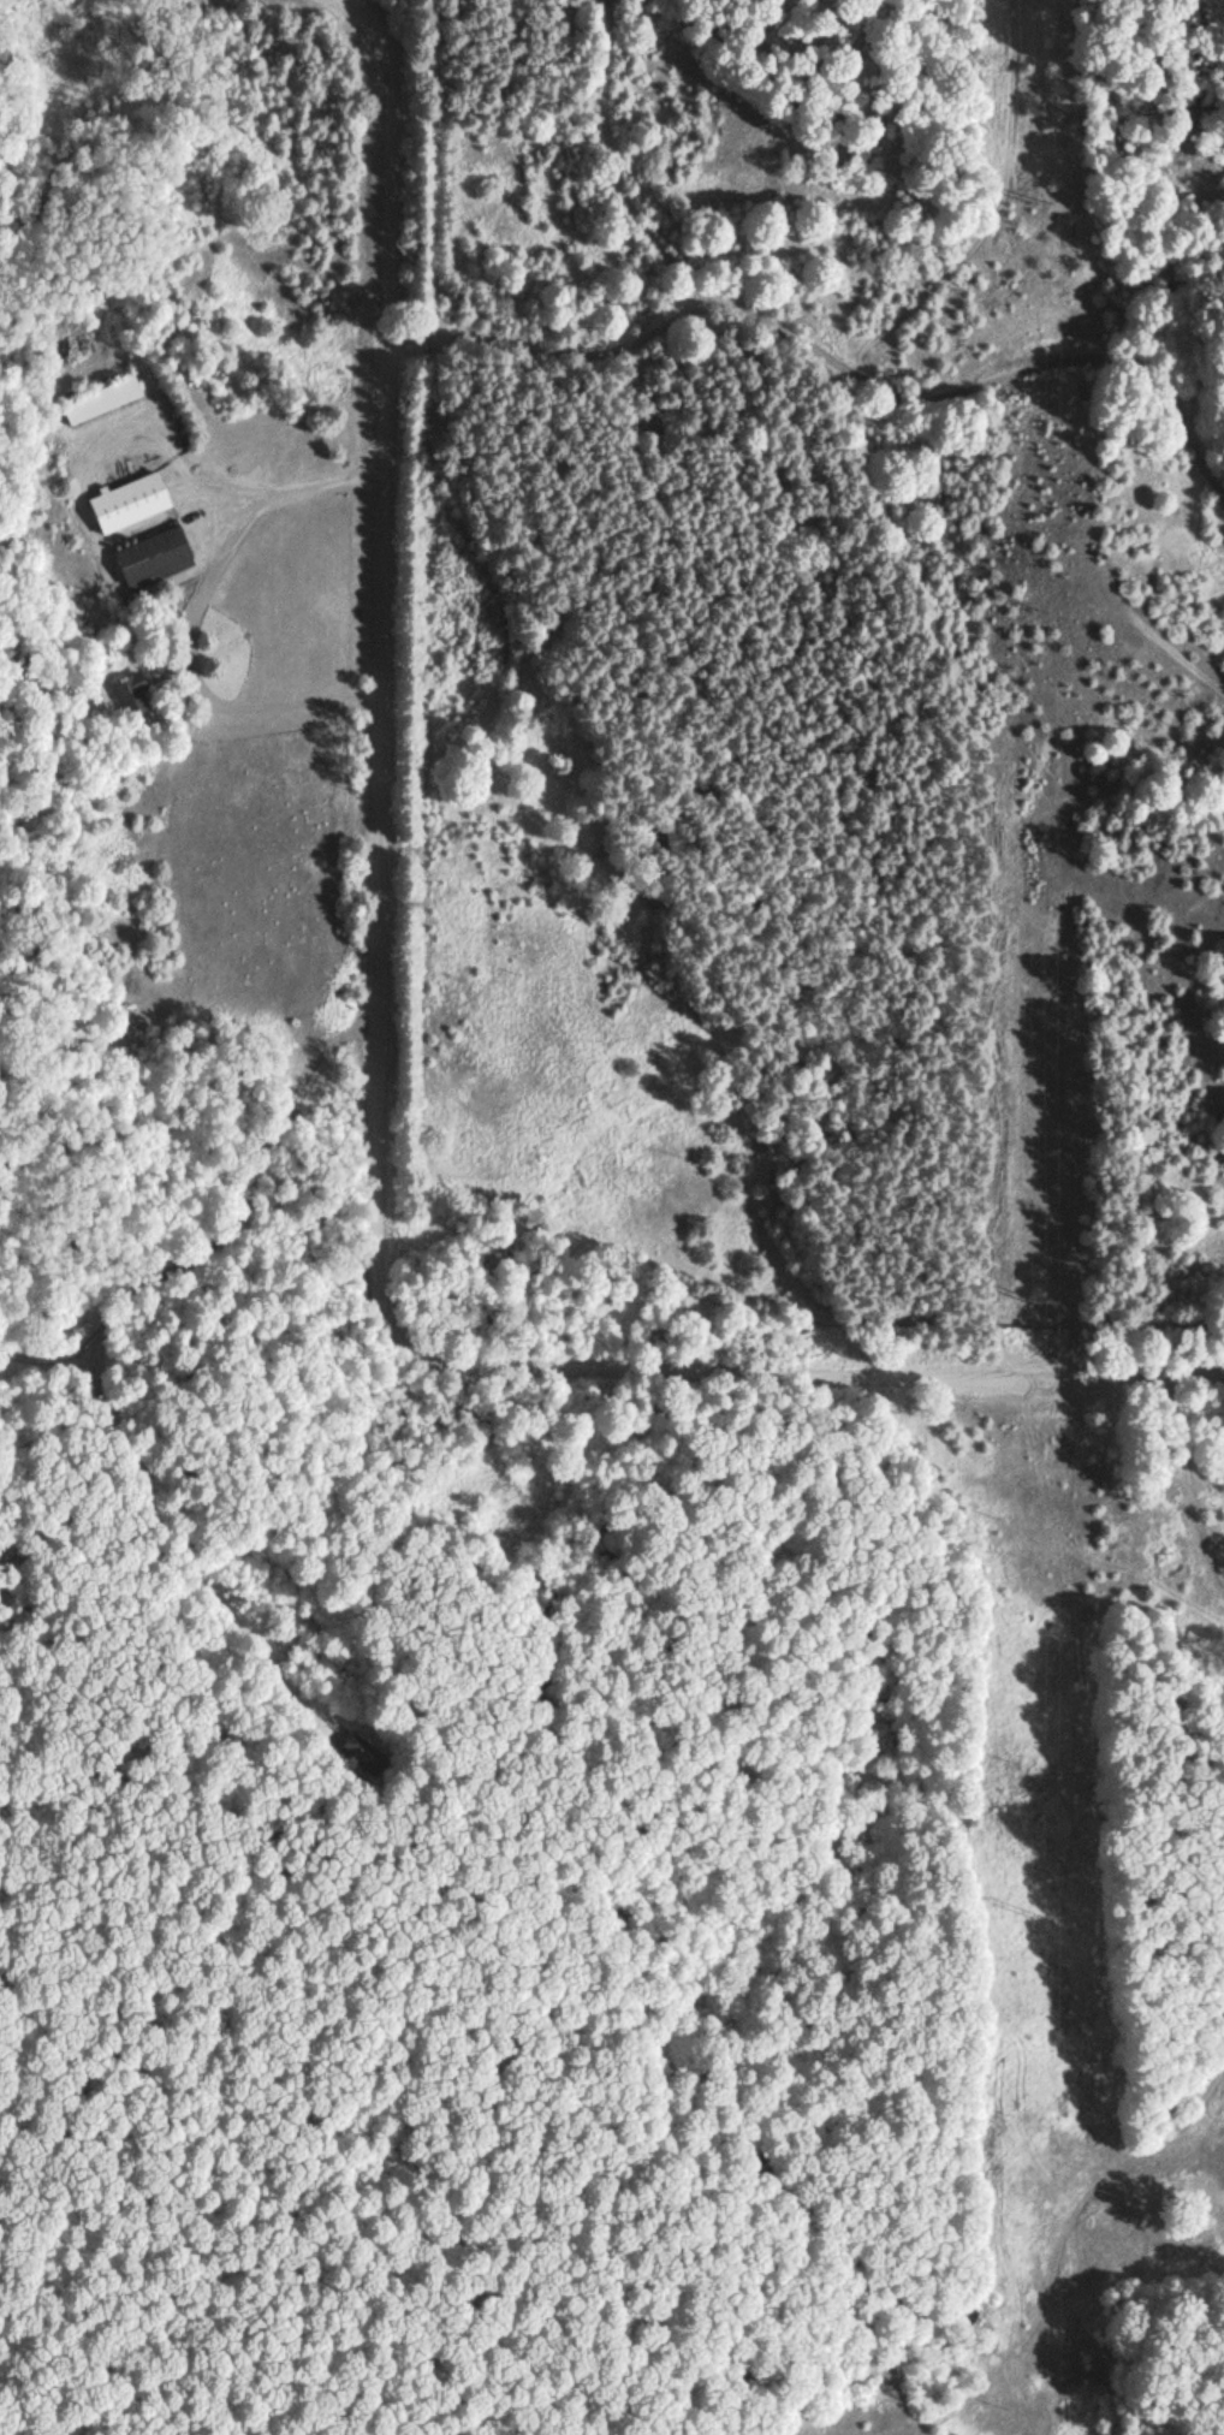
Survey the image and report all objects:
building: (99, 398)
building: (126, 501)
building: (153, 558)
building: (130, 693)
road: (380, 982)
road: (1123, 1373)

